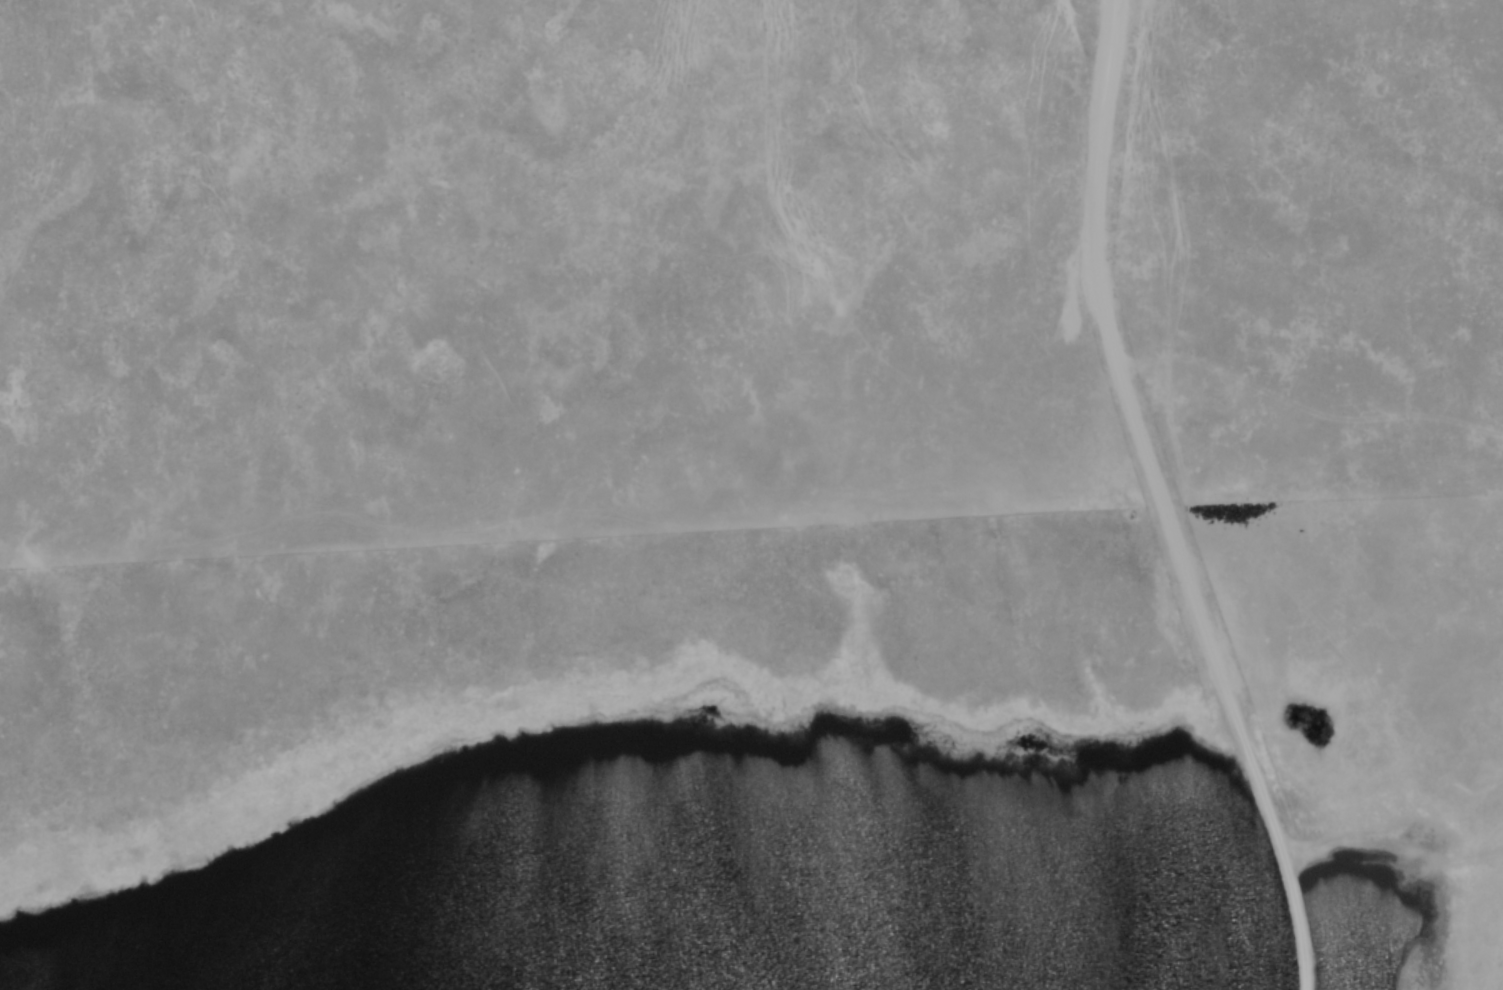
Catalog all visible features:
road: (1163, 500)

